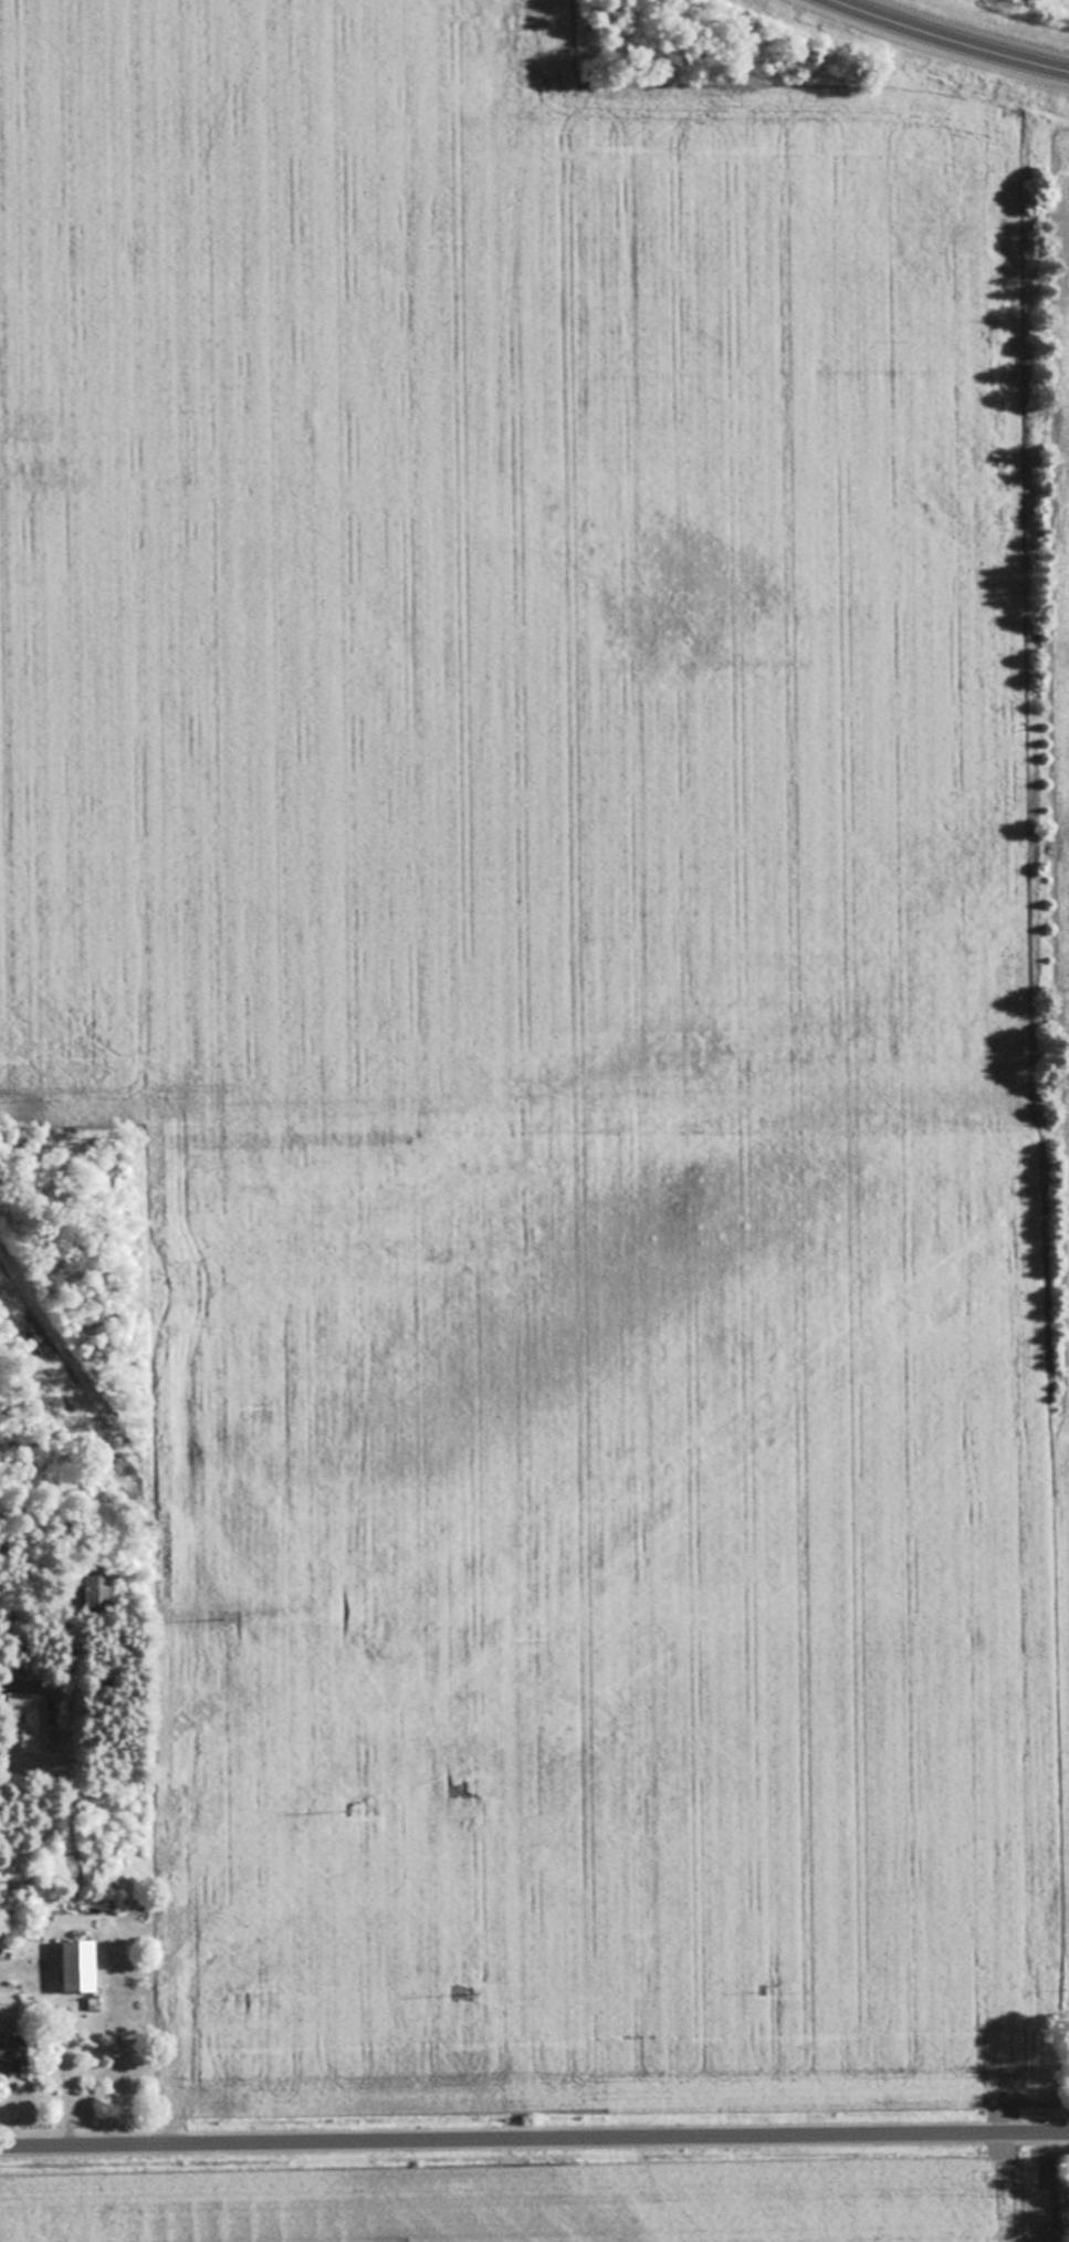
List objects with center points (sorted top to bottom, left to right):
road: (953, 40)
building: (80, 1964)
building: (13, 2052)
road: (534, 2145)

